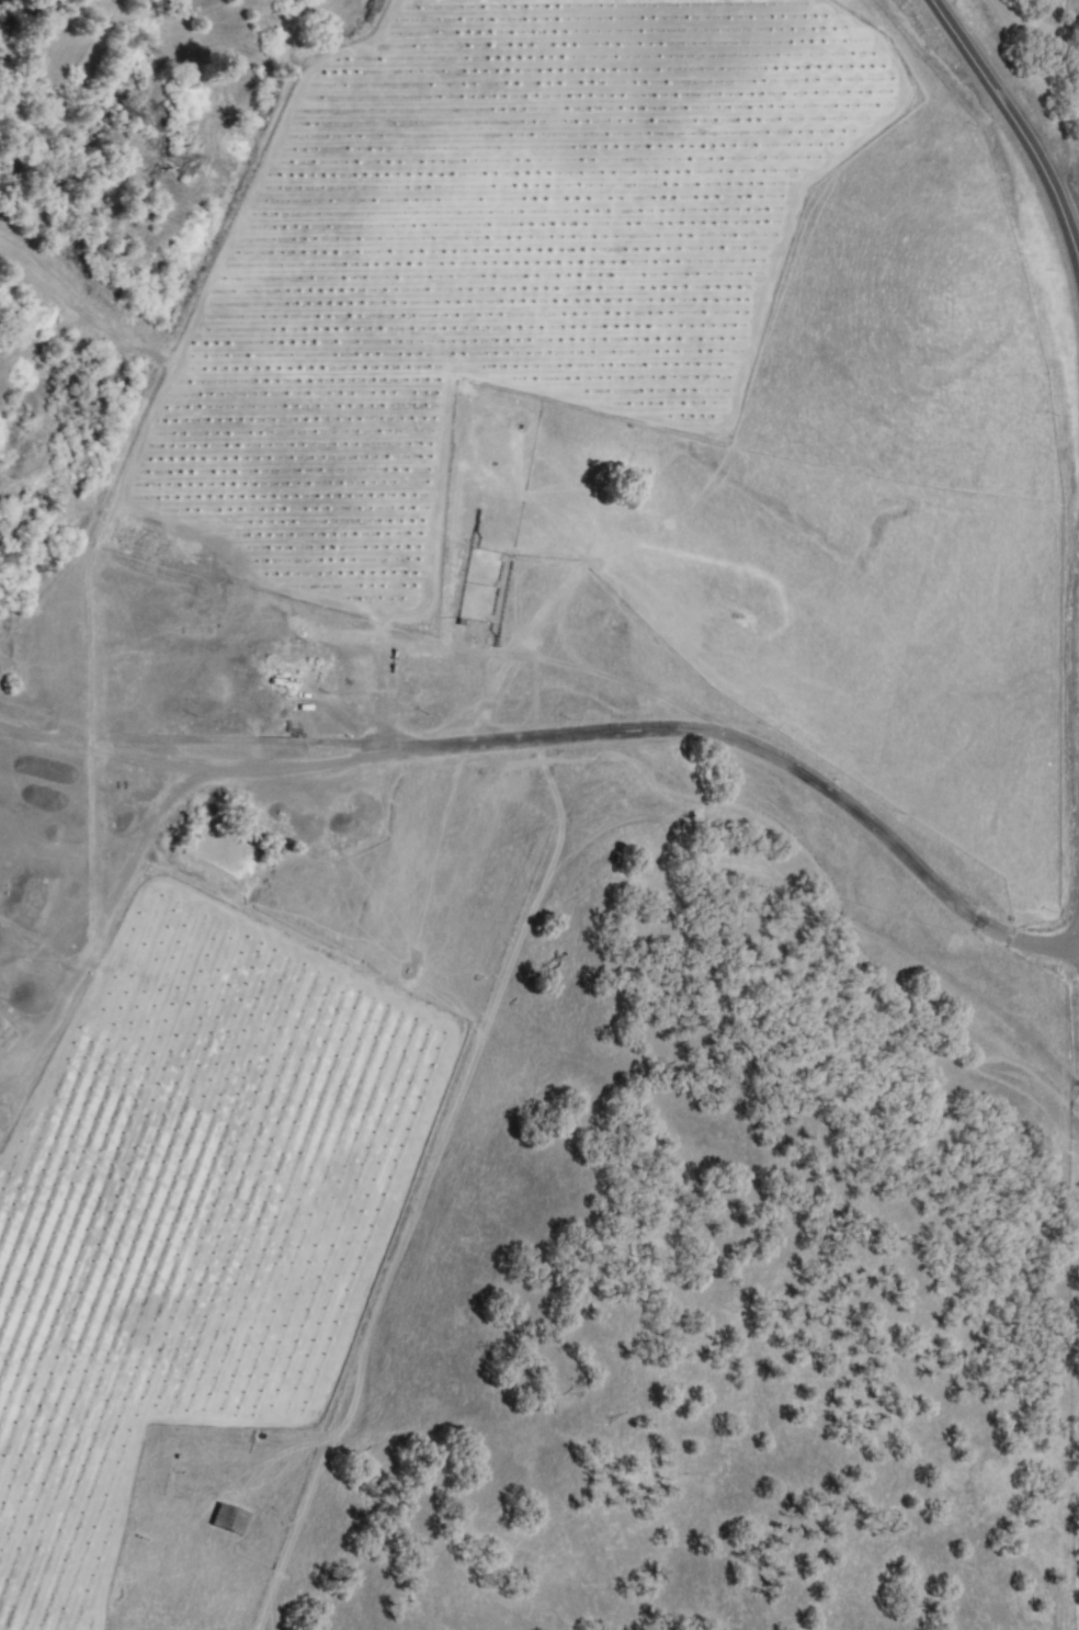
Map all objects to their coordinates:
road: (1015, 125)
crop: (435, 647)
road: (571, 735)
building: (229, 1519)

